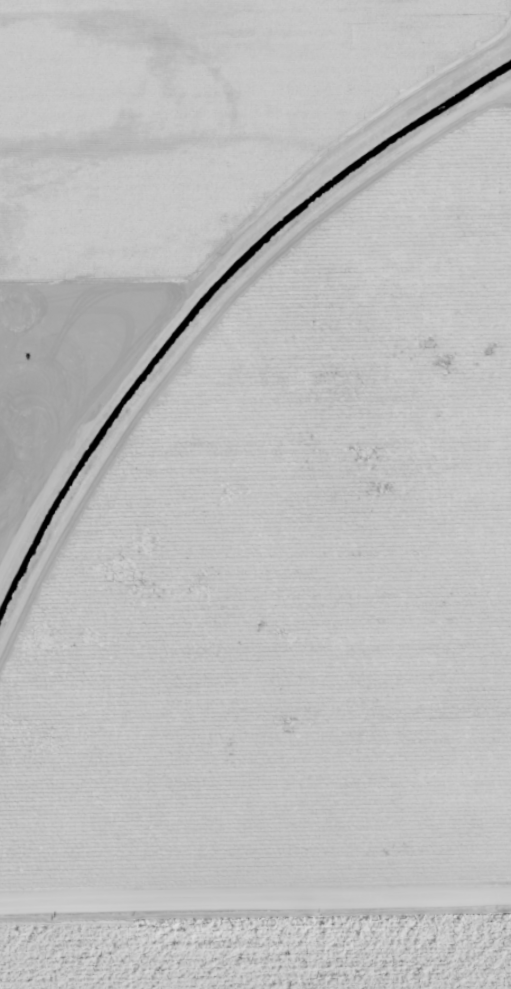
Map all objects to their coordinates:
railway: (205, 327)
road: (255, 902)

